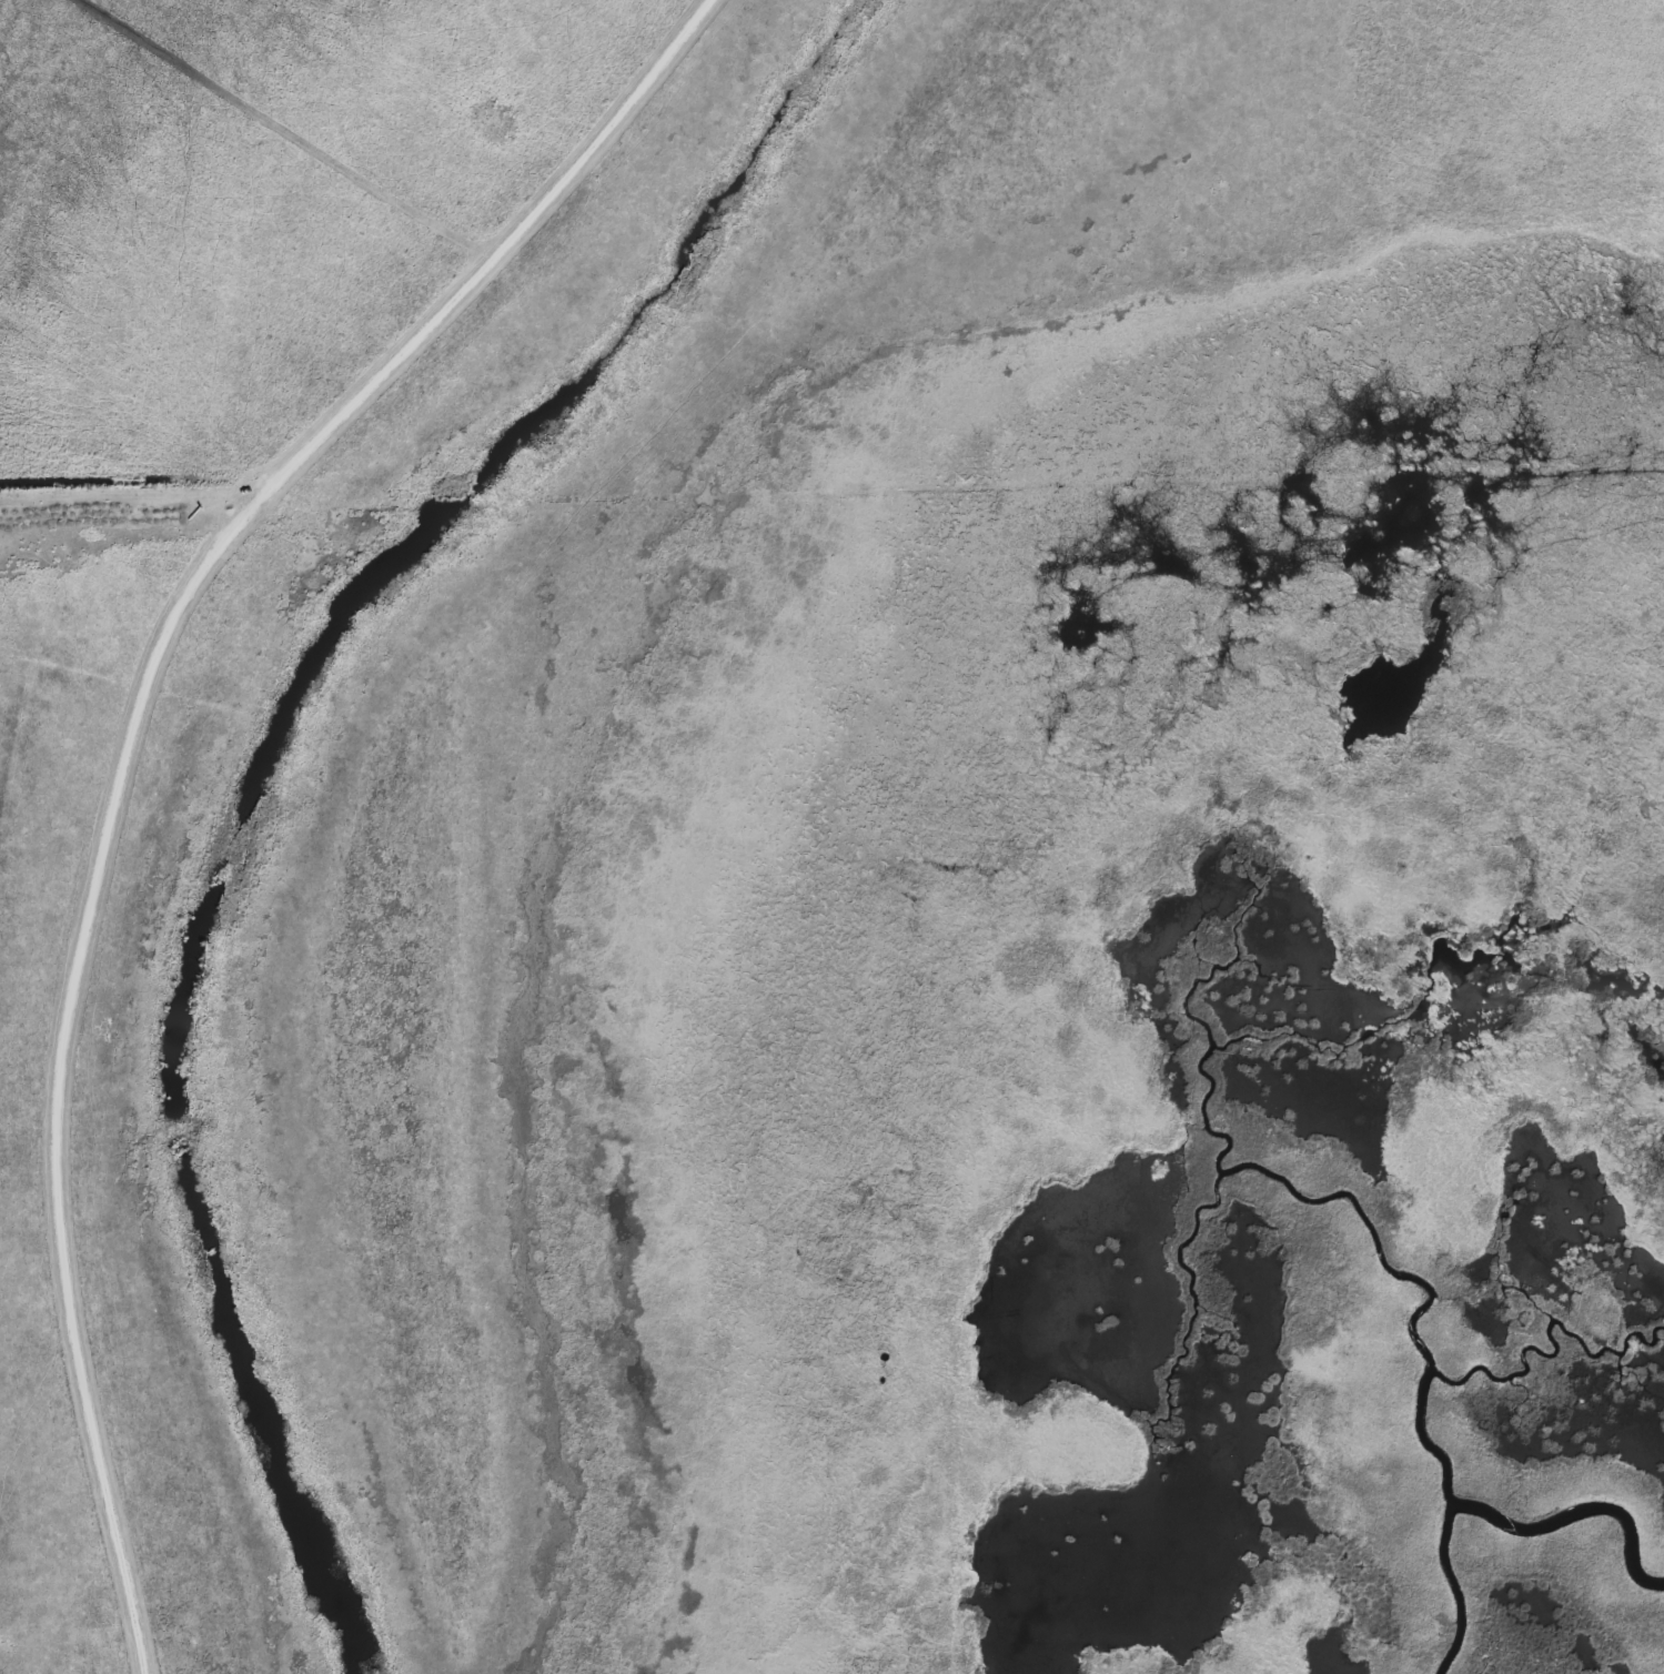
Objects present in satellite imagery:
road: (135, 497)
road: (137, 740)

